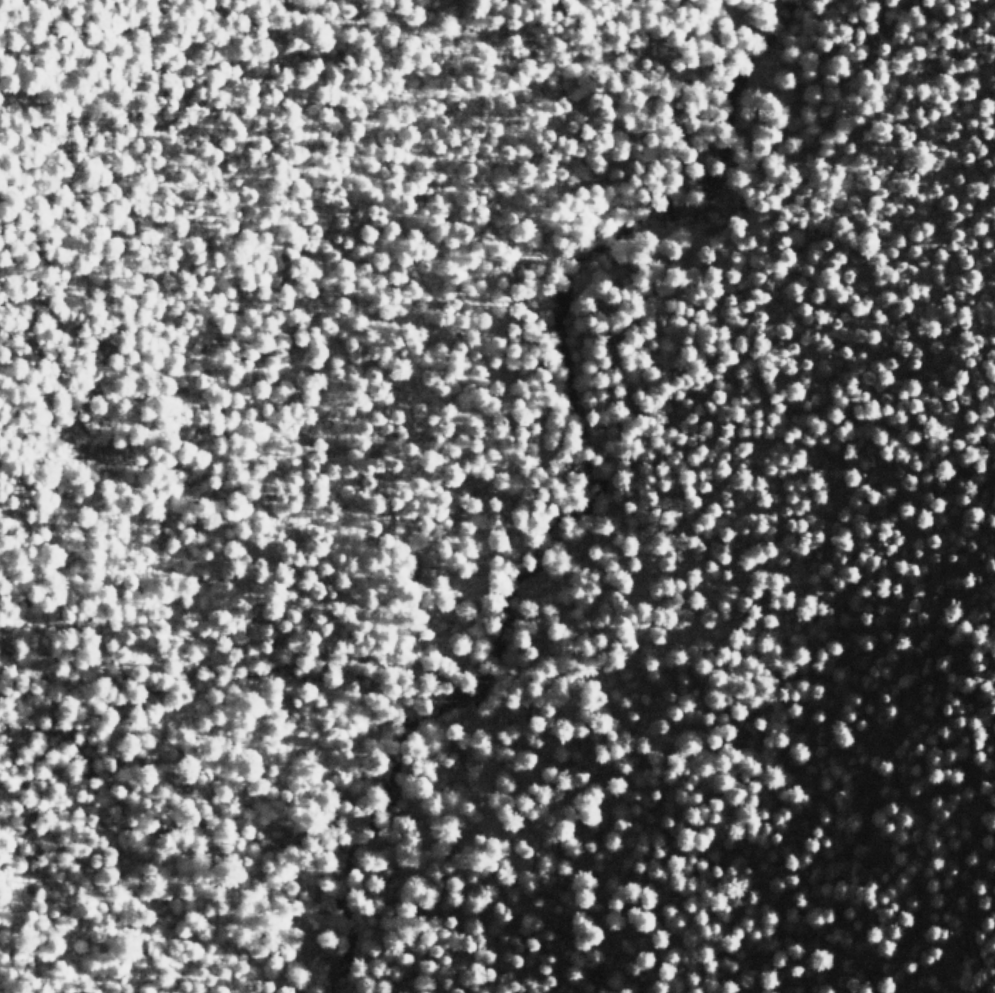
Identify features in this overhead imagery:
road: (981, 902)

